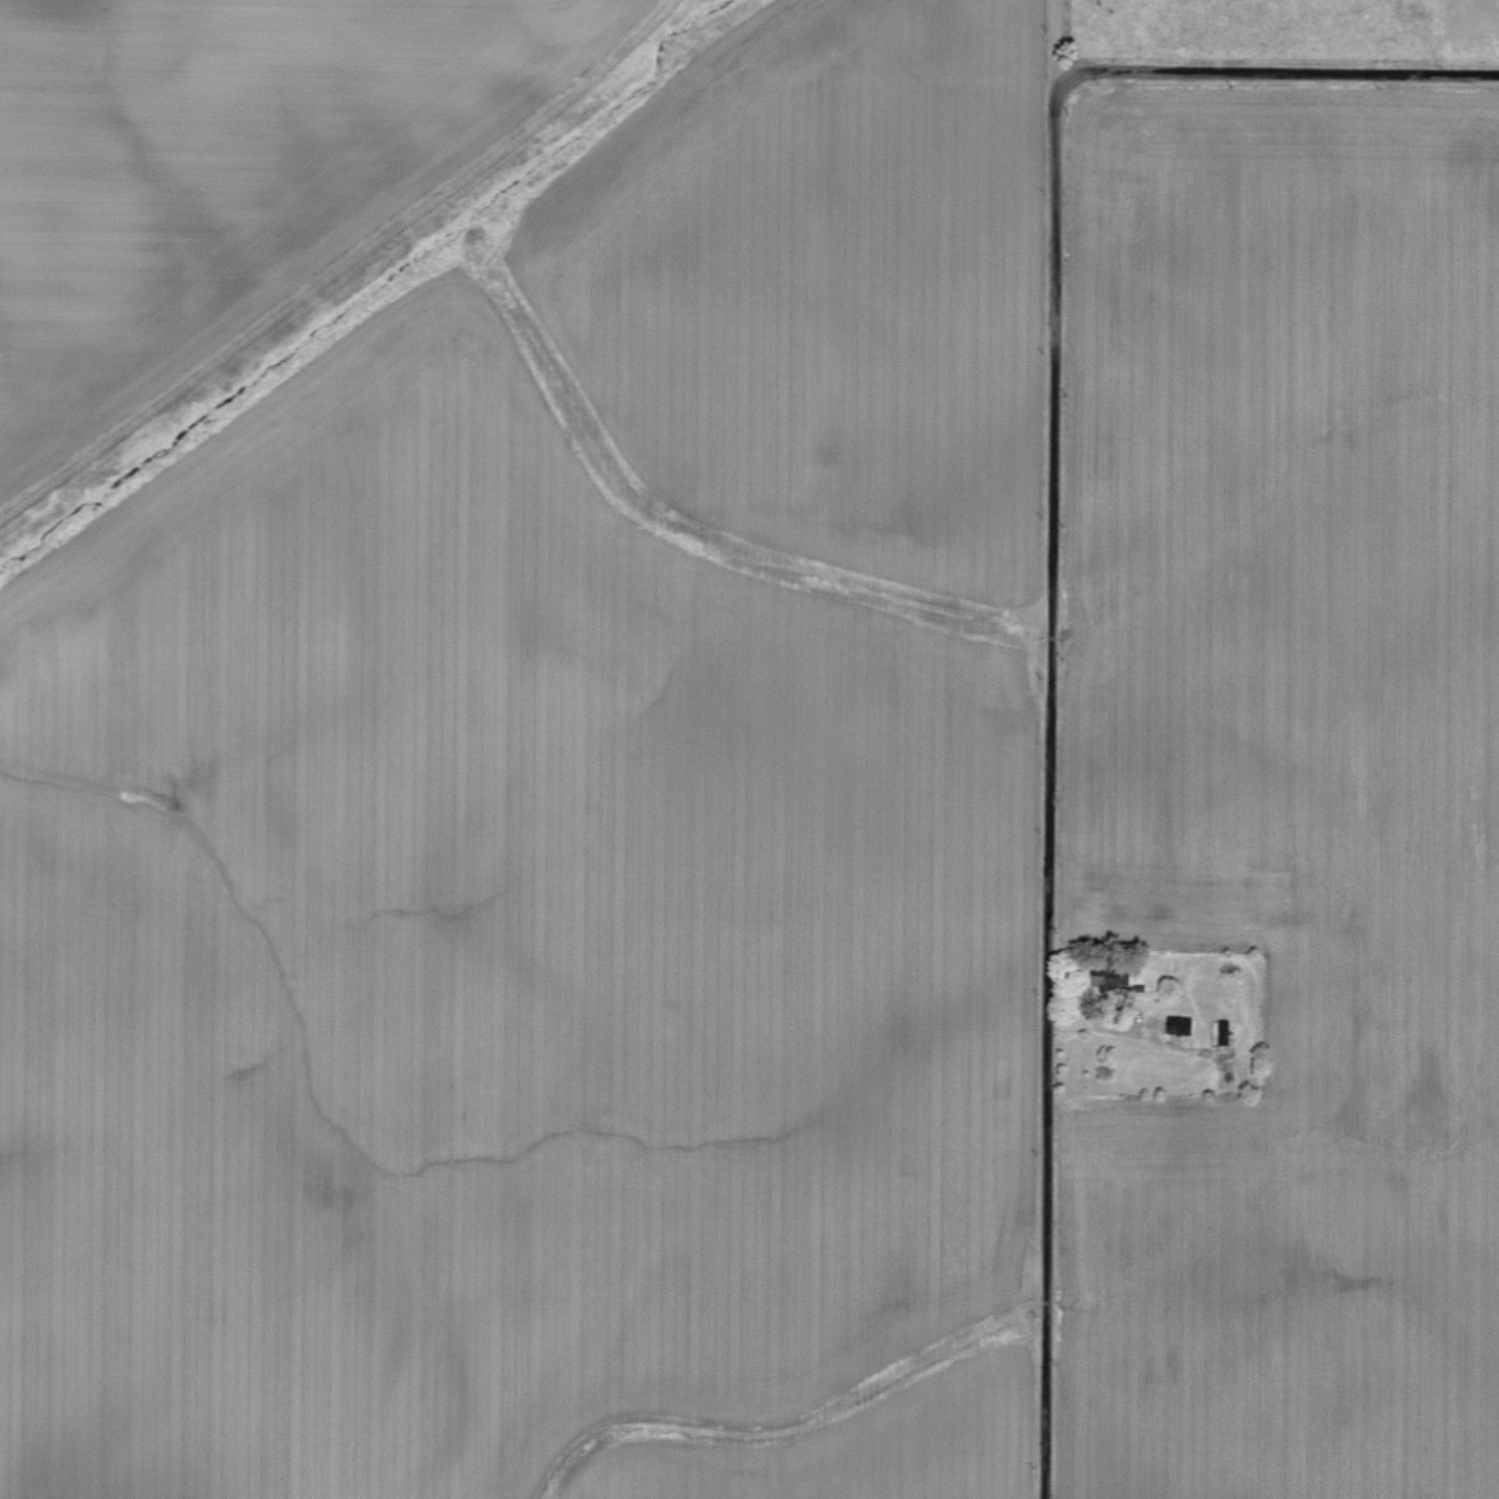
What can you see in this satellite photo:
road: (1057, 35)
road: (1278, 70)
road: (1049, 785)
road: (1106, 1025)

